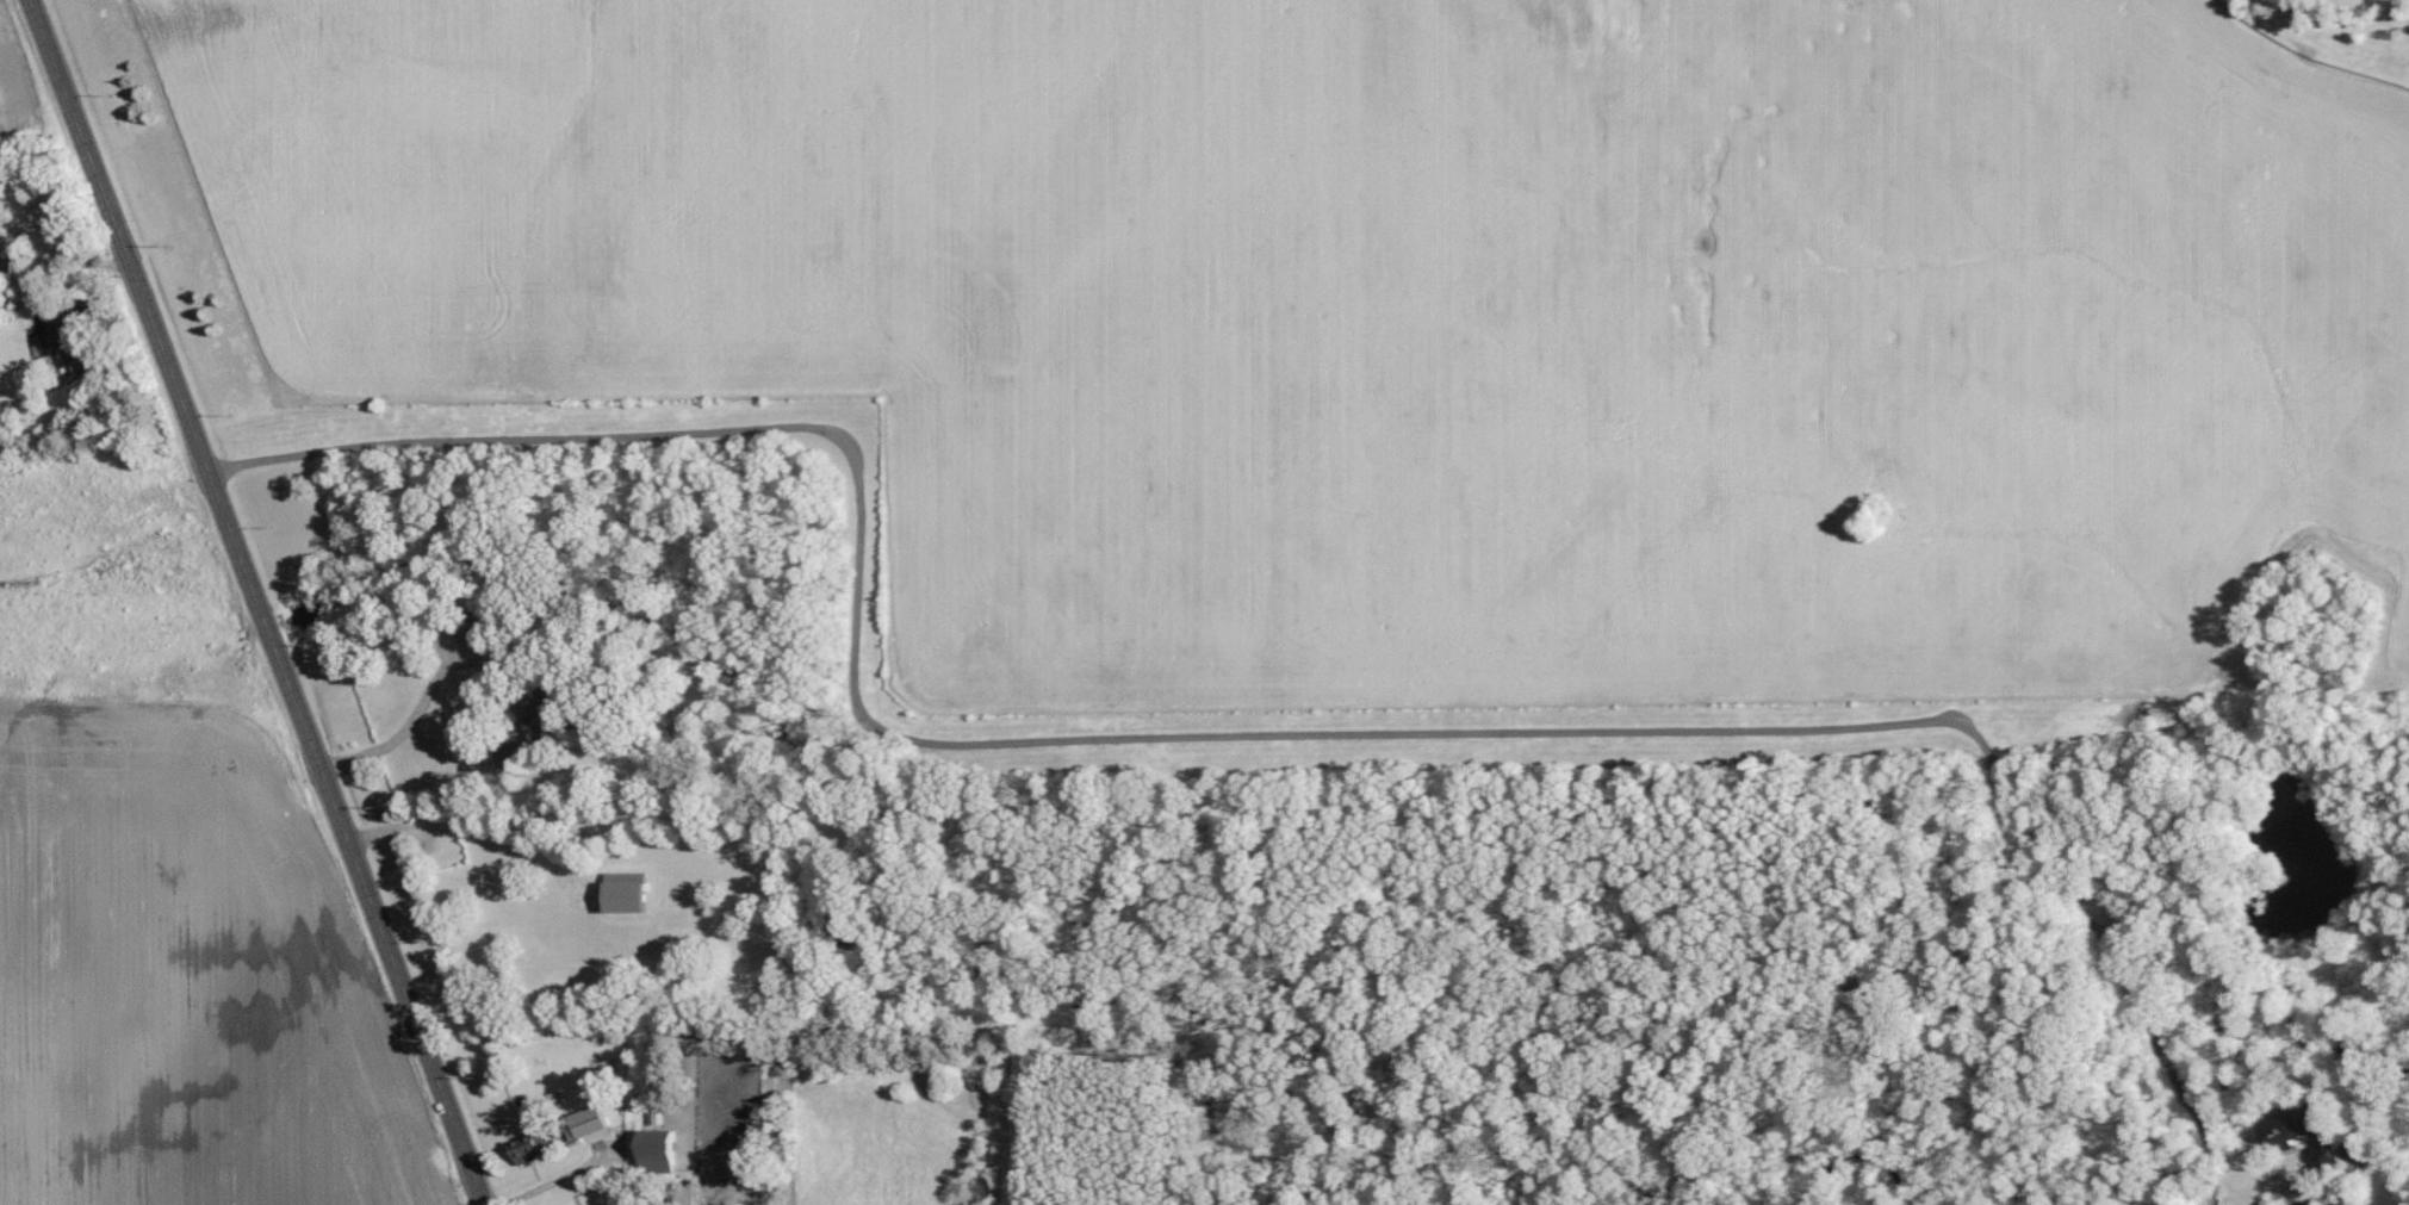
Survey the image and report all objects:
building: (62, 340)
road: (256, 602)
building: (551, 714)
road: (409, 728)
road: (1223, 737)
building: (632, 892)
building: (592, 1124)
building: (2315, 1132)
building: (536, 1143)
road: (2354, 1178)
road: (555, 1181)

